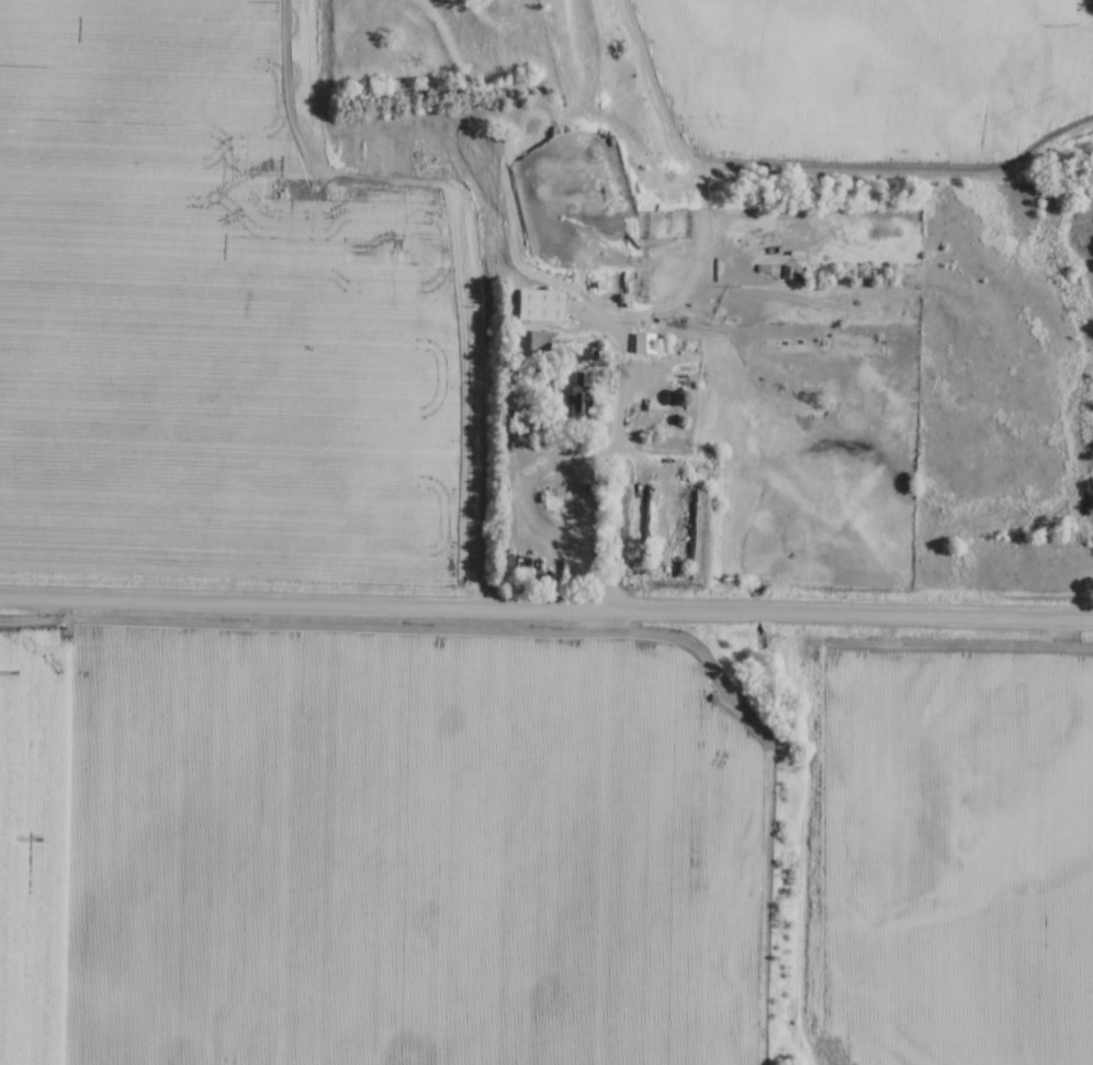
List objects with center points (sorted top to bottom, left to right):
building: (537, 305)
crop: (224, 312)
building: (536, 339)
building: (641, 343)
building: (578, 393)
silo: (677, 399)
building: (677, 400)
silo: (677, 422)
road: (619, 450)
road: (545, 609)
crop: (373, 850)
crop: (960, 855)

